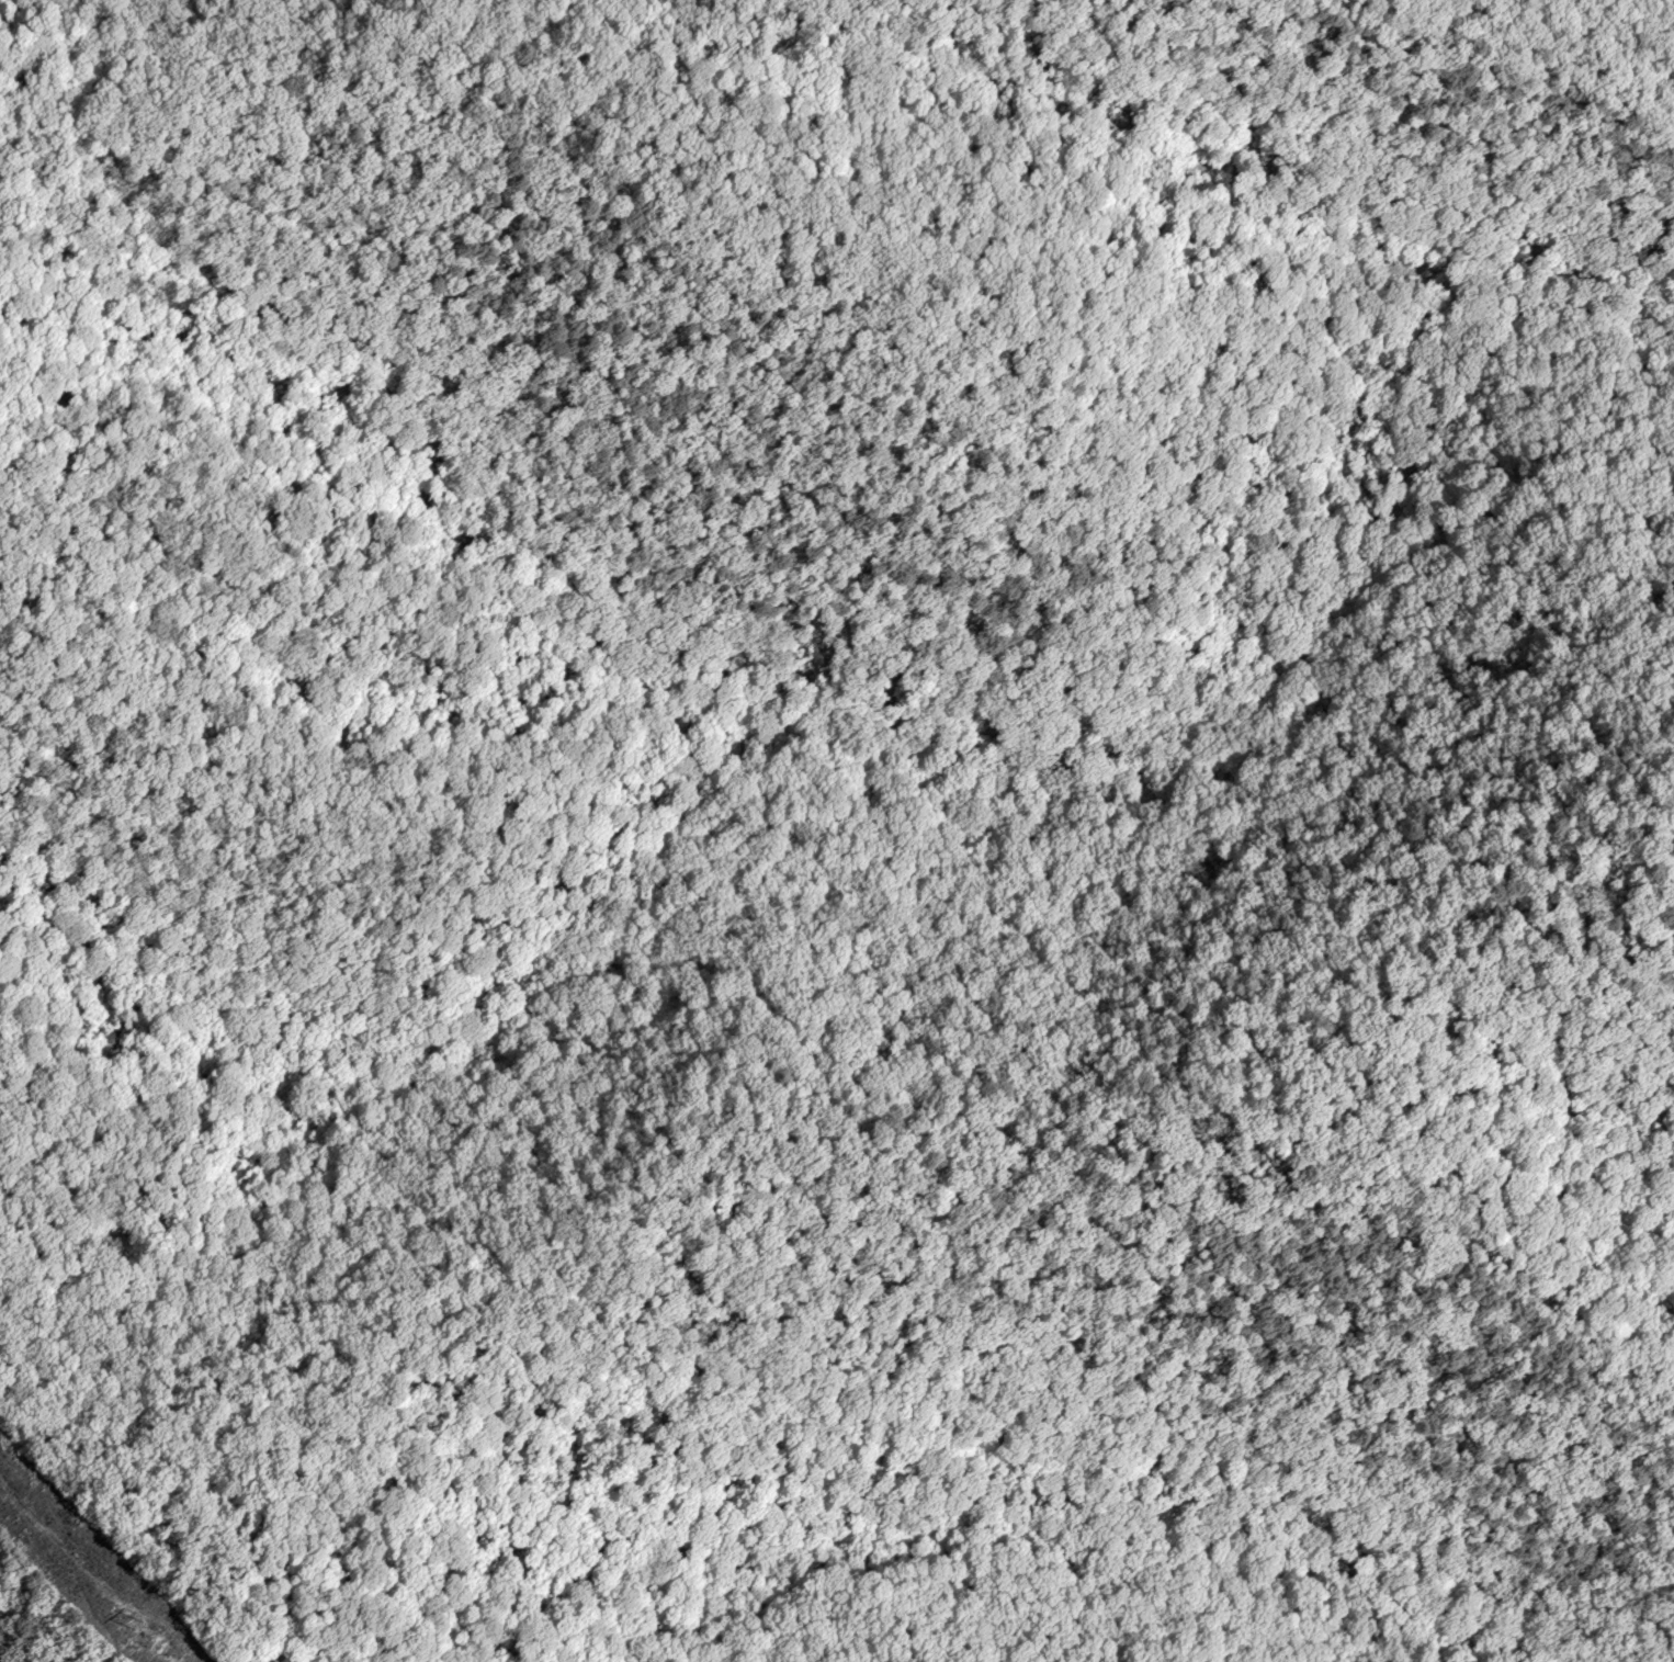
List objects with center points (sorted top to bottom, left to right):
power tower: (139, 1624)

